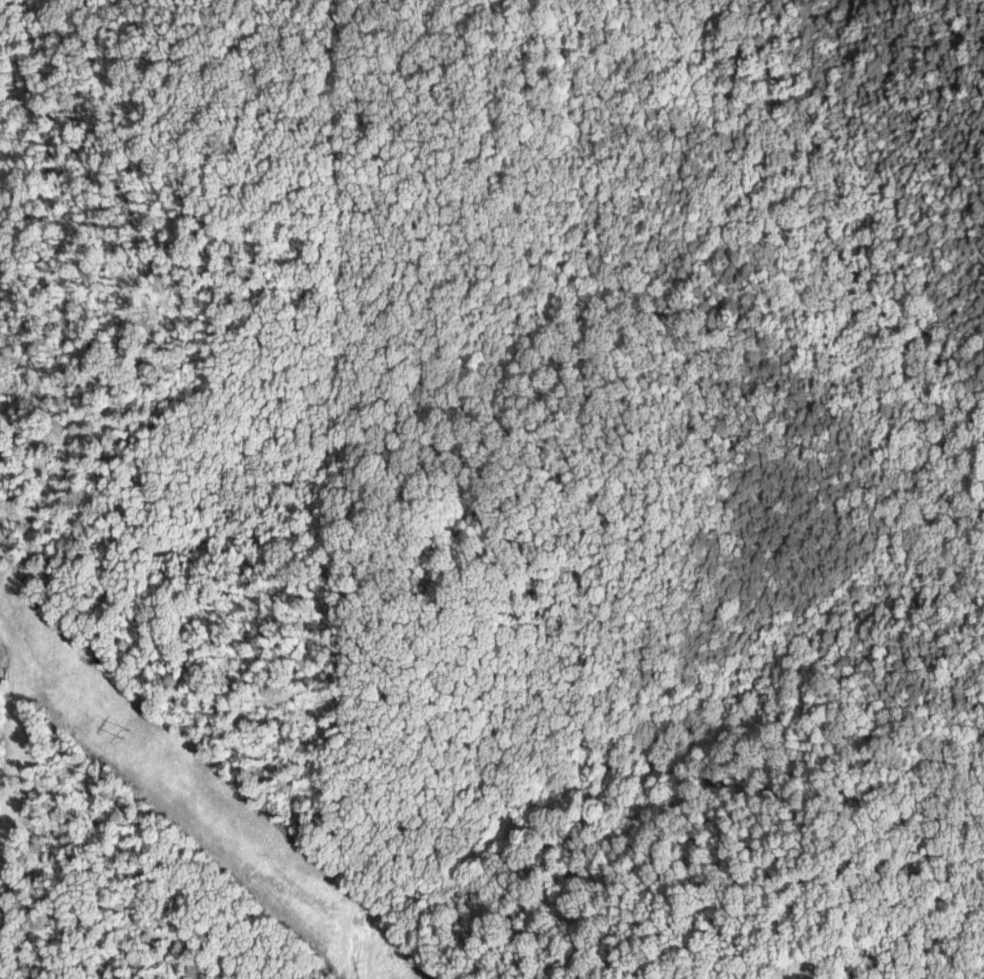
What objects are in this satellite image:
power tower: (129, 737)
road: (364, 745)

